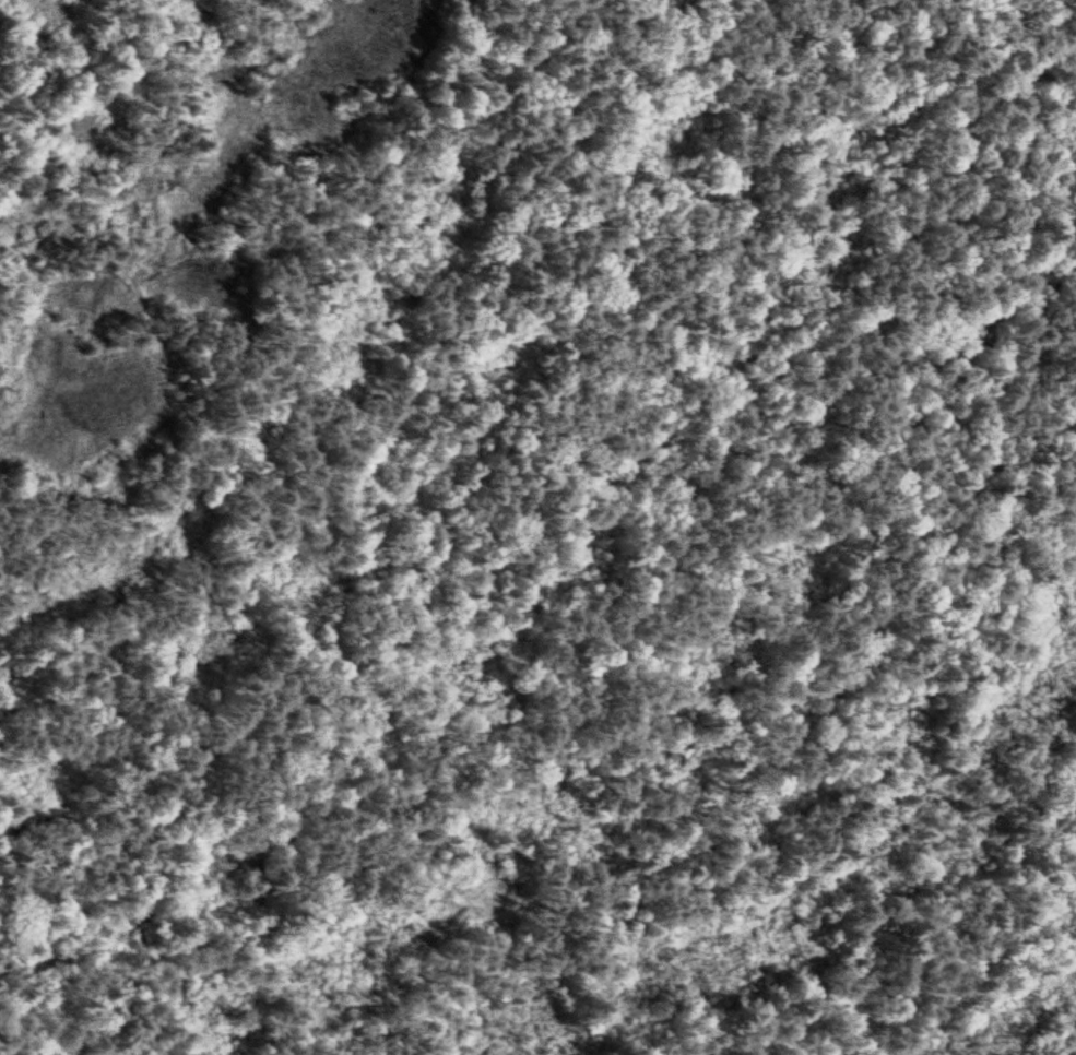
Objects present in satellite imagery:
road: (66, 79)

